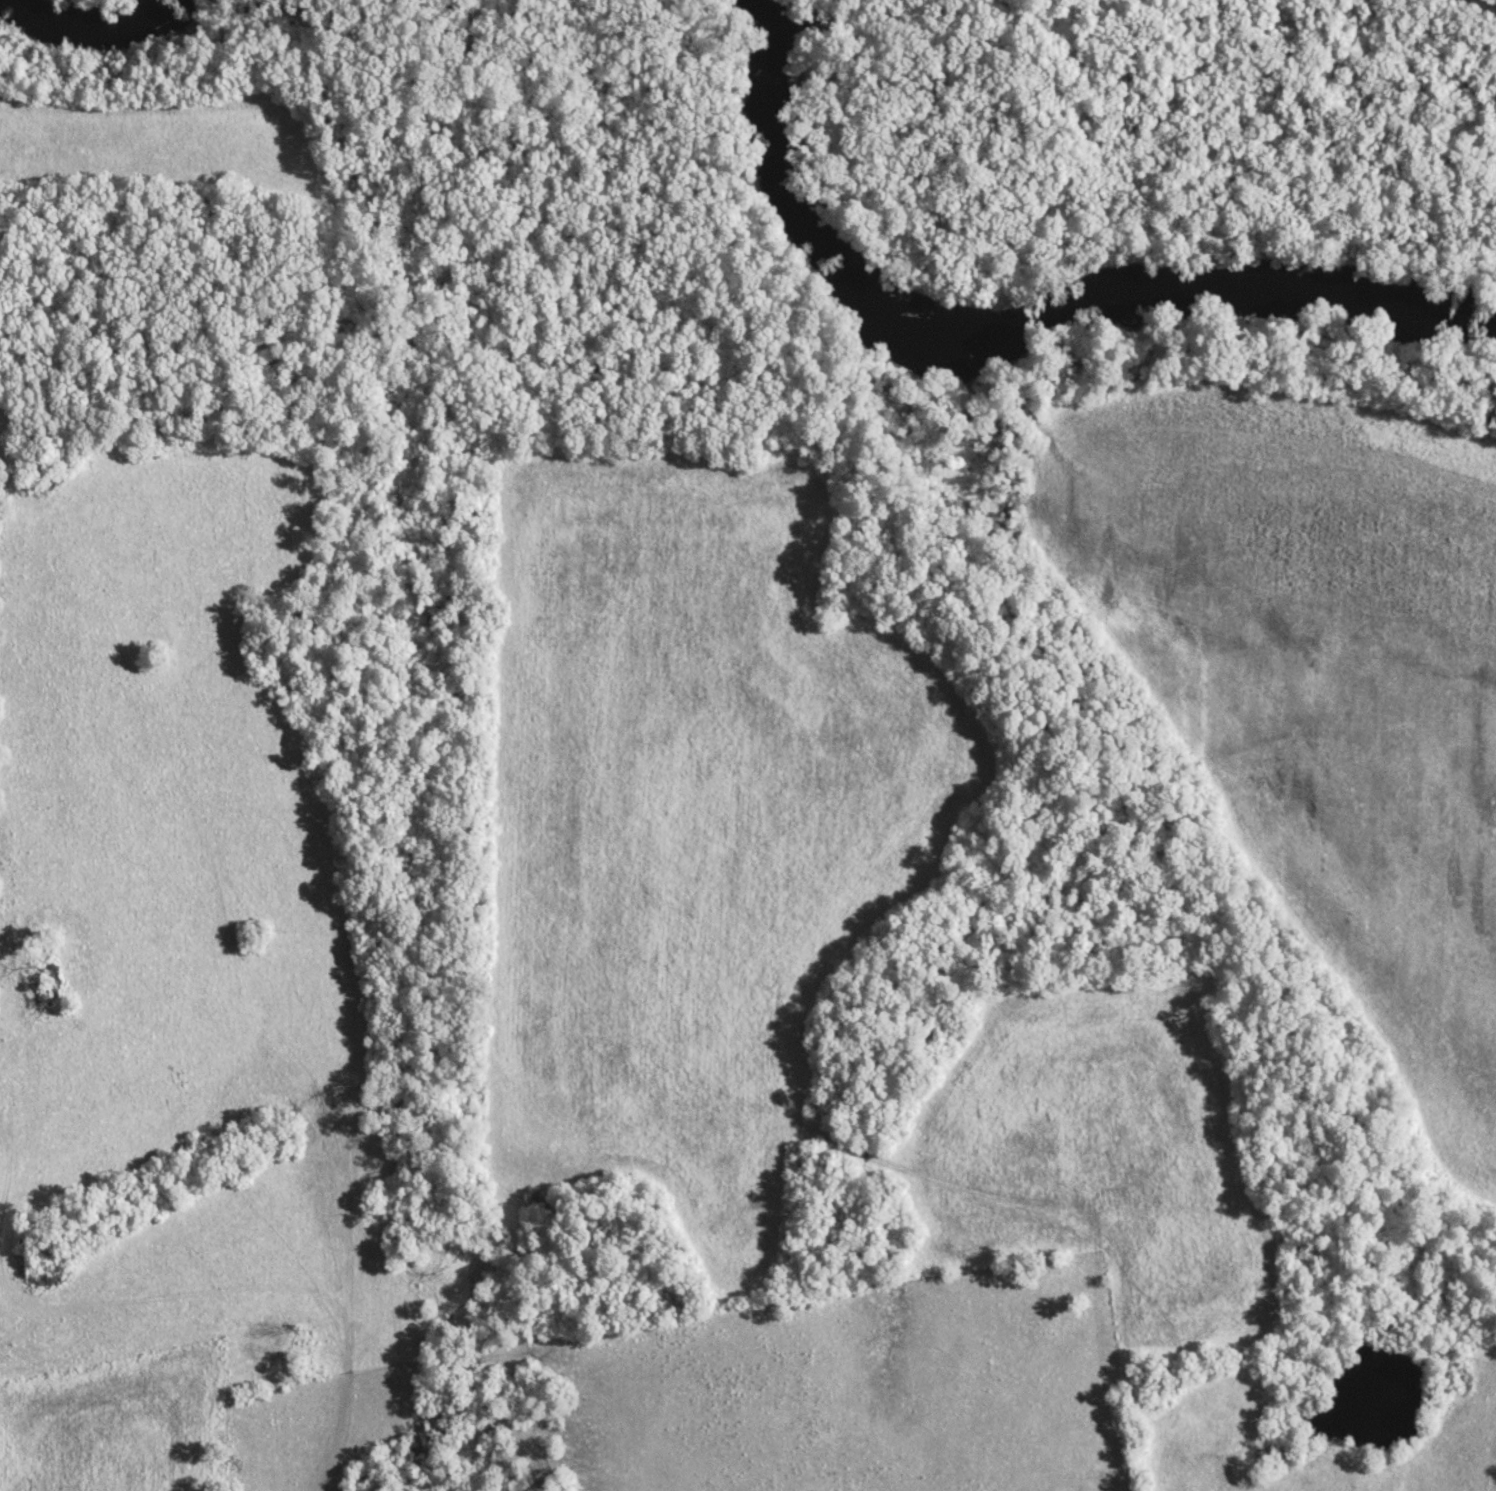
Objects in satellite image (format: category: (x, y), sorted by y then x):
river: (104, 8)
river: (1004, 349)
road: (920, 1180)

